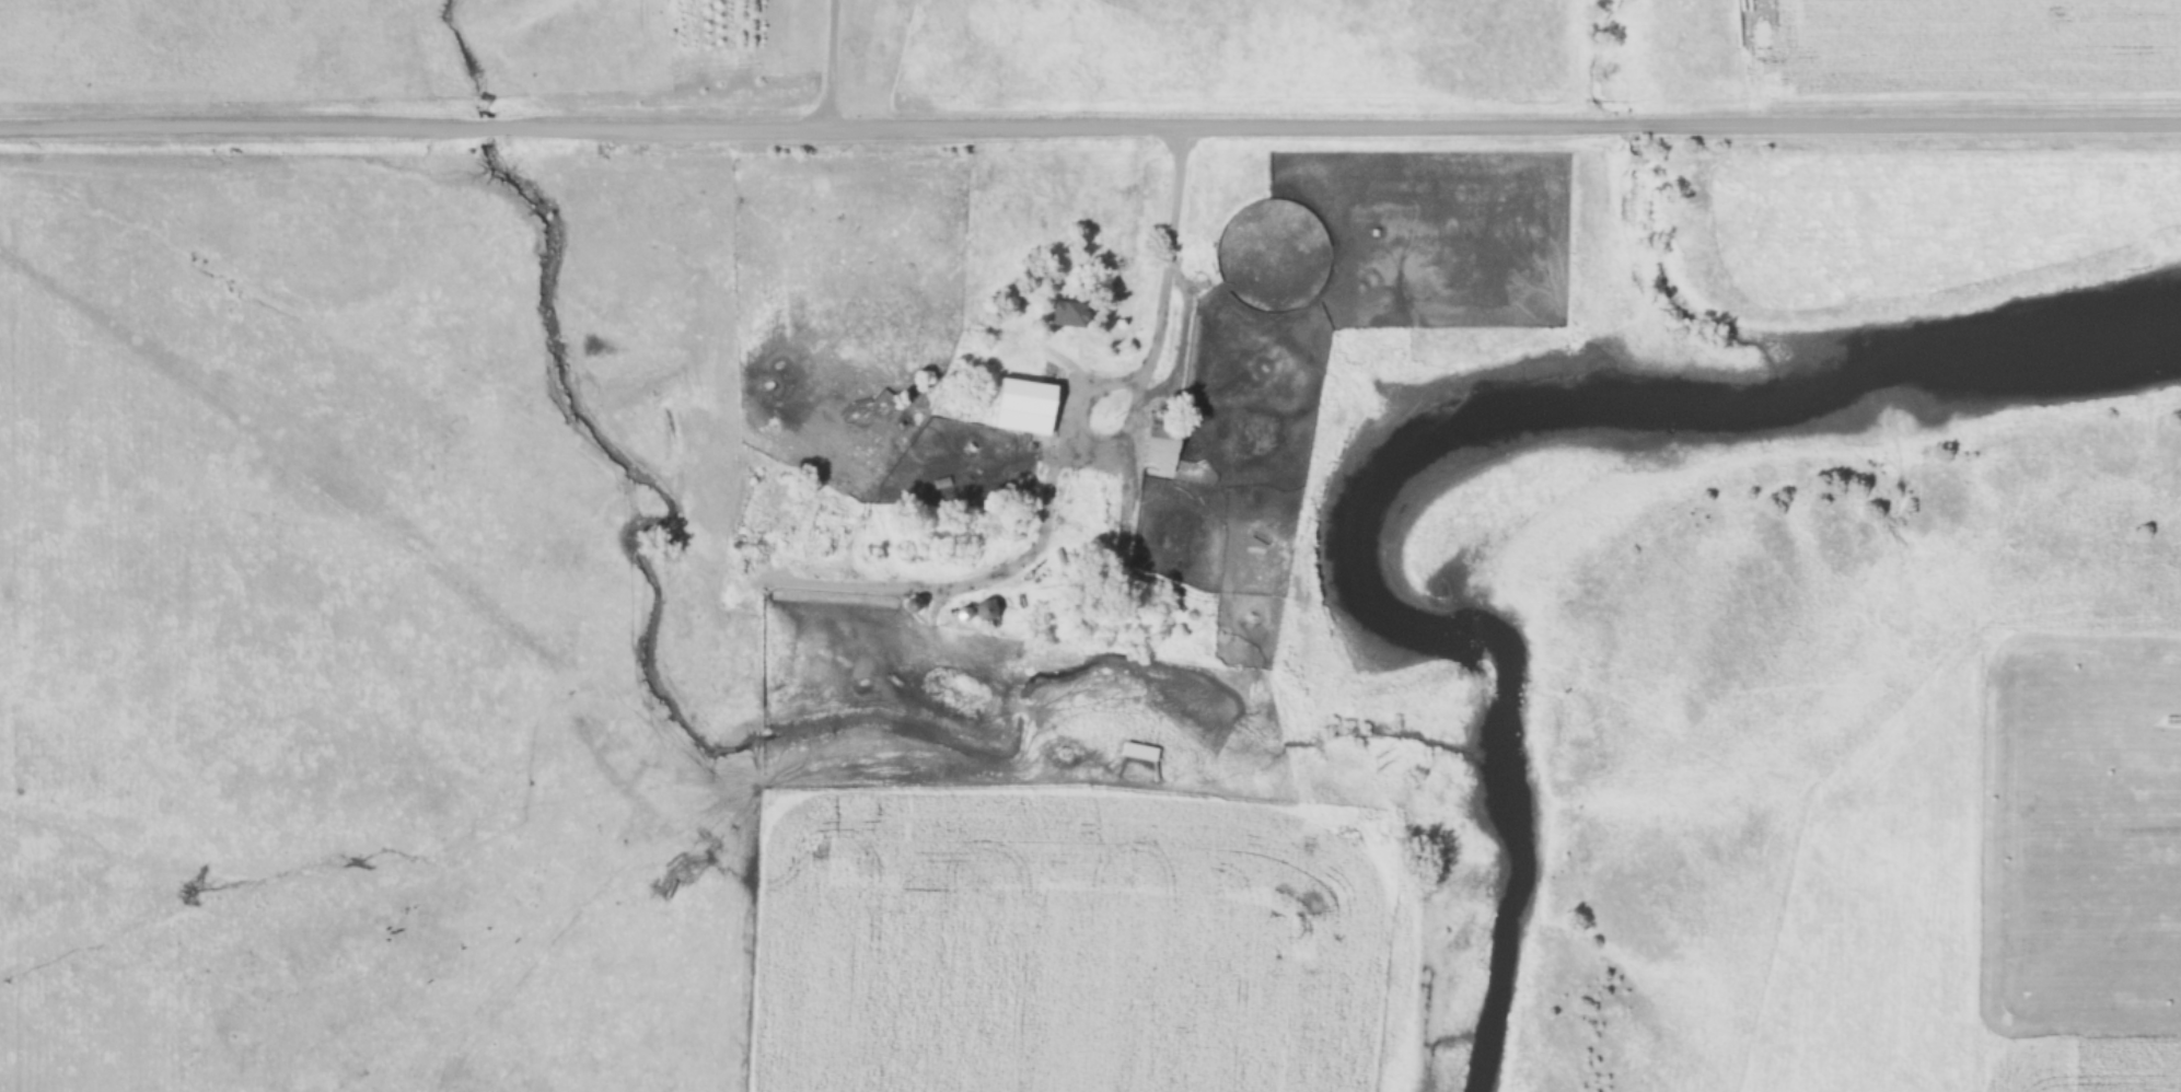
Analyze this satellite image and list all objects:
road: (1090, 126)
building: (1076, 314)
road: (1159, 358)

